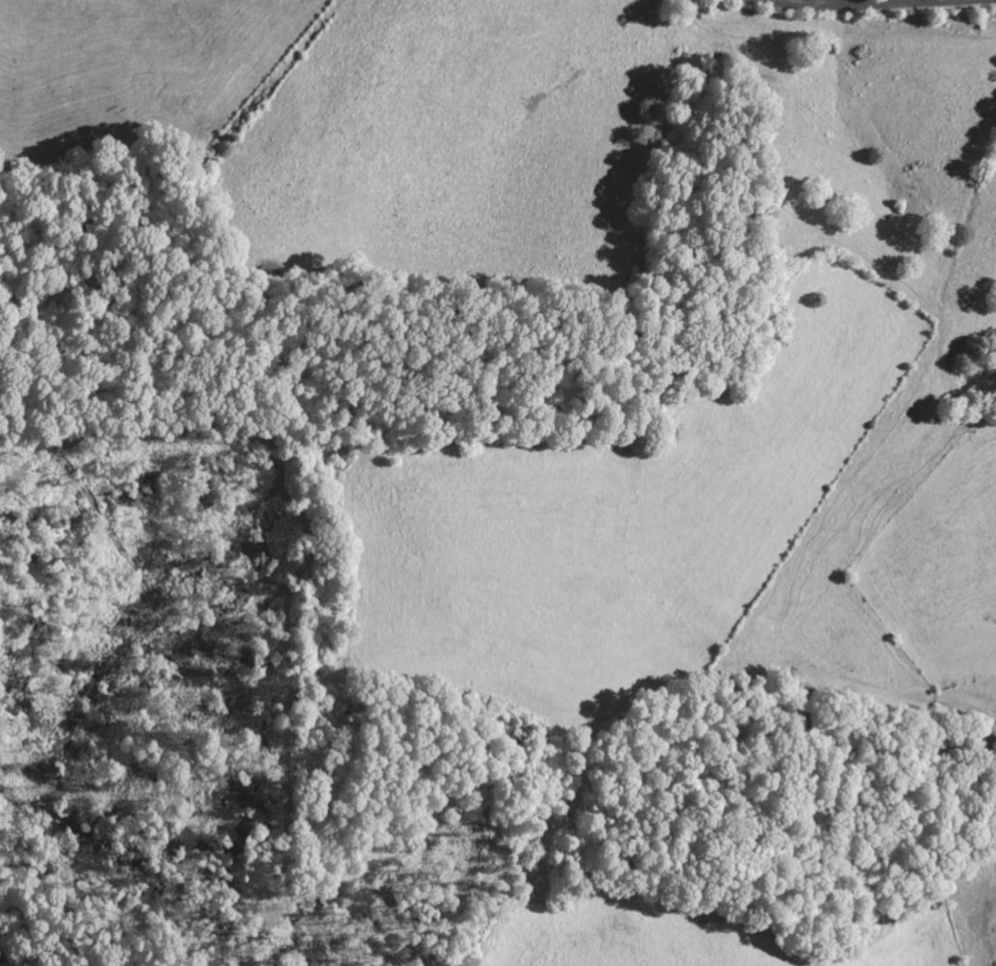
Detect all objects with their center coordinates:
road: (849, 3)

